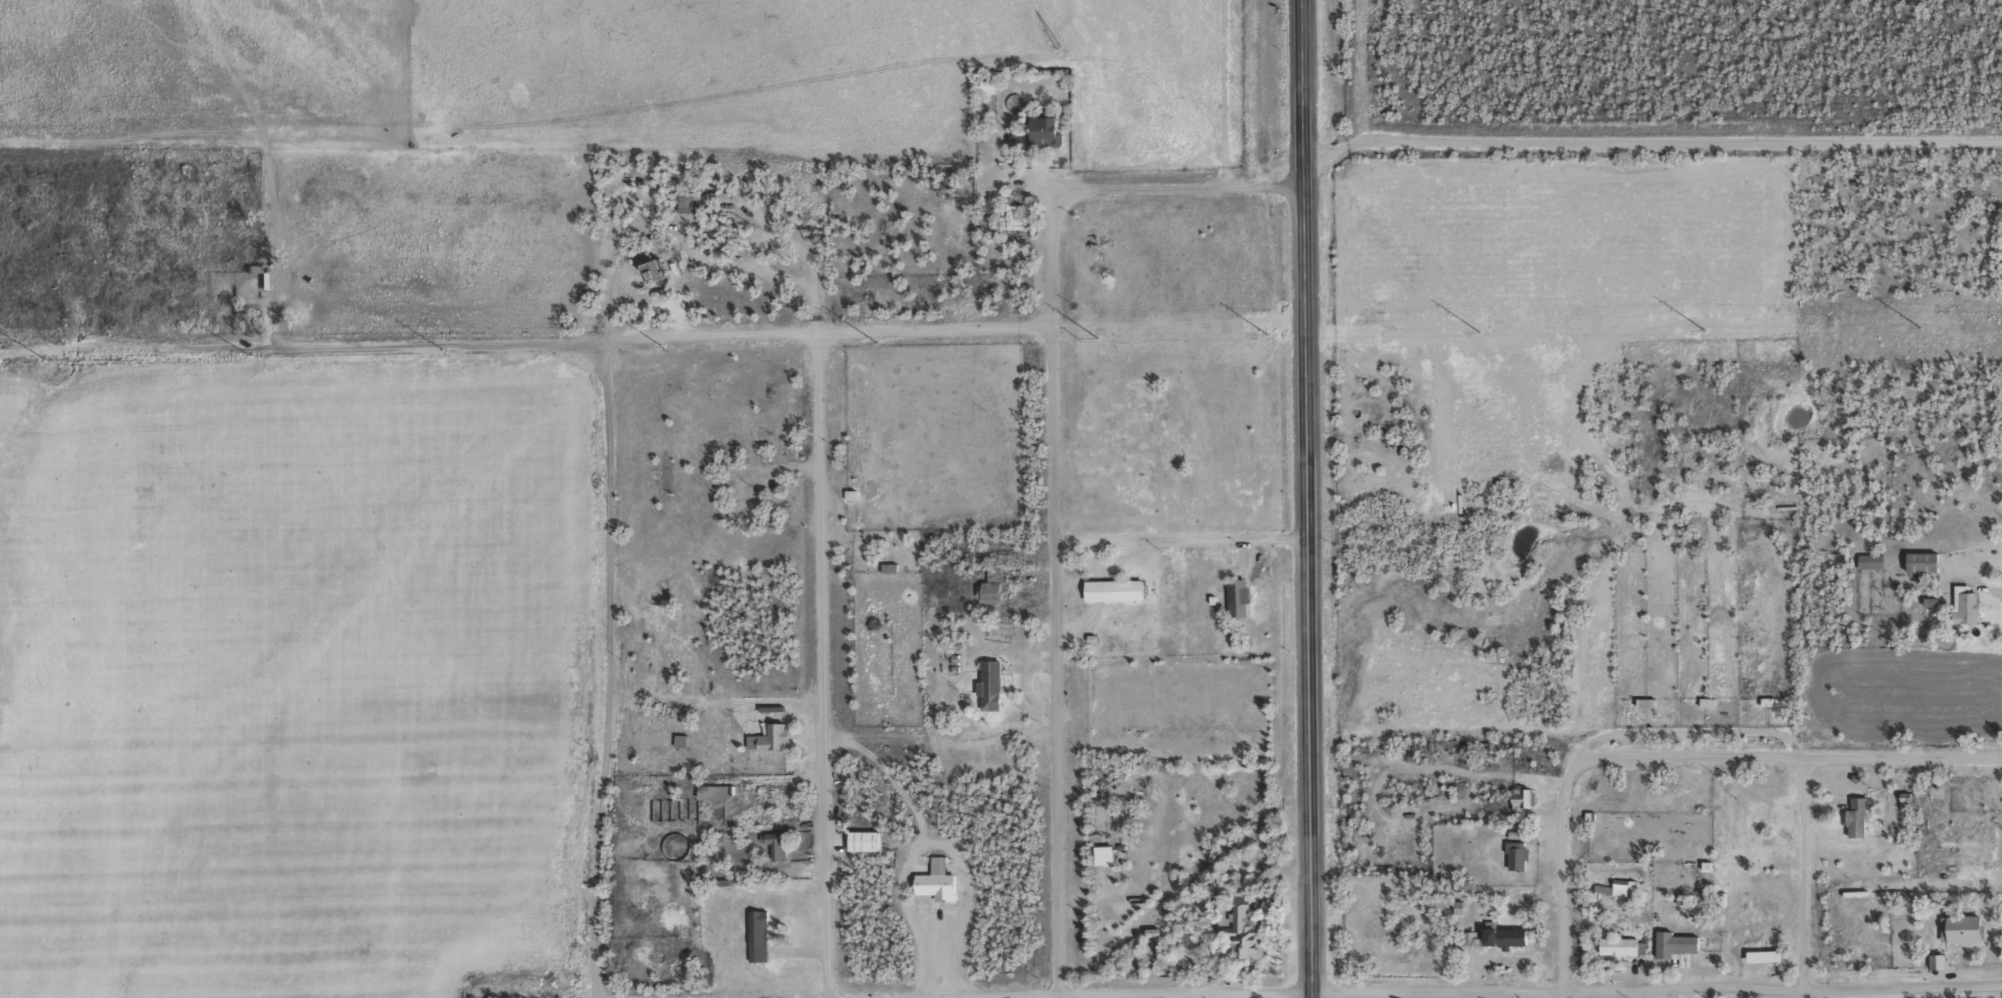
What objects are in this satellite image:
road: (1304, 74)
building: (994, 83)
road: (1226, 90)
building: (1046, 128)
road: (1651, 140)
road: (1183, 182)
building: (691, 206)
building: (1020, 215)
building: (1010, 220)
building: (662, 263)
building: (649, 271)
road: (823, 333)
road: (499, 343)
building: (760, 491)
building: (750, 495)
road: (1179, 541)
building: (1874, 560)
building: (1927, 560)
road: (1308, 572)
building: (998, 581)
building: (988, 585)
building: (1118, 588)
road: (1052, 592)
building: (1241, 594)
building: (1970, 602)
road: (822, 666)
road: (600, 669)
building: (995, 683)
building: (1772, 699)
building: (1650, 700)
building: (1711, 700)
building: (1642, 703)
building: (779, 733)
building: (684, 738)
road: (1773, 757)
building: (718, 789)
building: (1526, 795)
building: (1517, 799)
building: (1764, 810)
building: (1861, 813)
building: (1748, 818)
building: (870, 837)
building: (783, 842)
building: (1965, 845)
building: (771, 846)
building: (1109, 852)
building: (1521, 852)
building: (1100, 856)
road: (1800, 878)
building: (1619, 881)
building: (942, 885)
road: (1561, 893)
building: (1247, 926)
building: (1971, 926)
building: (762, 933)
building: (1509, 934)
building: (1624, 944)
building: (1682, 944)
building: (1769, 956)
road: (1655, 990)
road: (1183, 993)
road: (986, 995)

